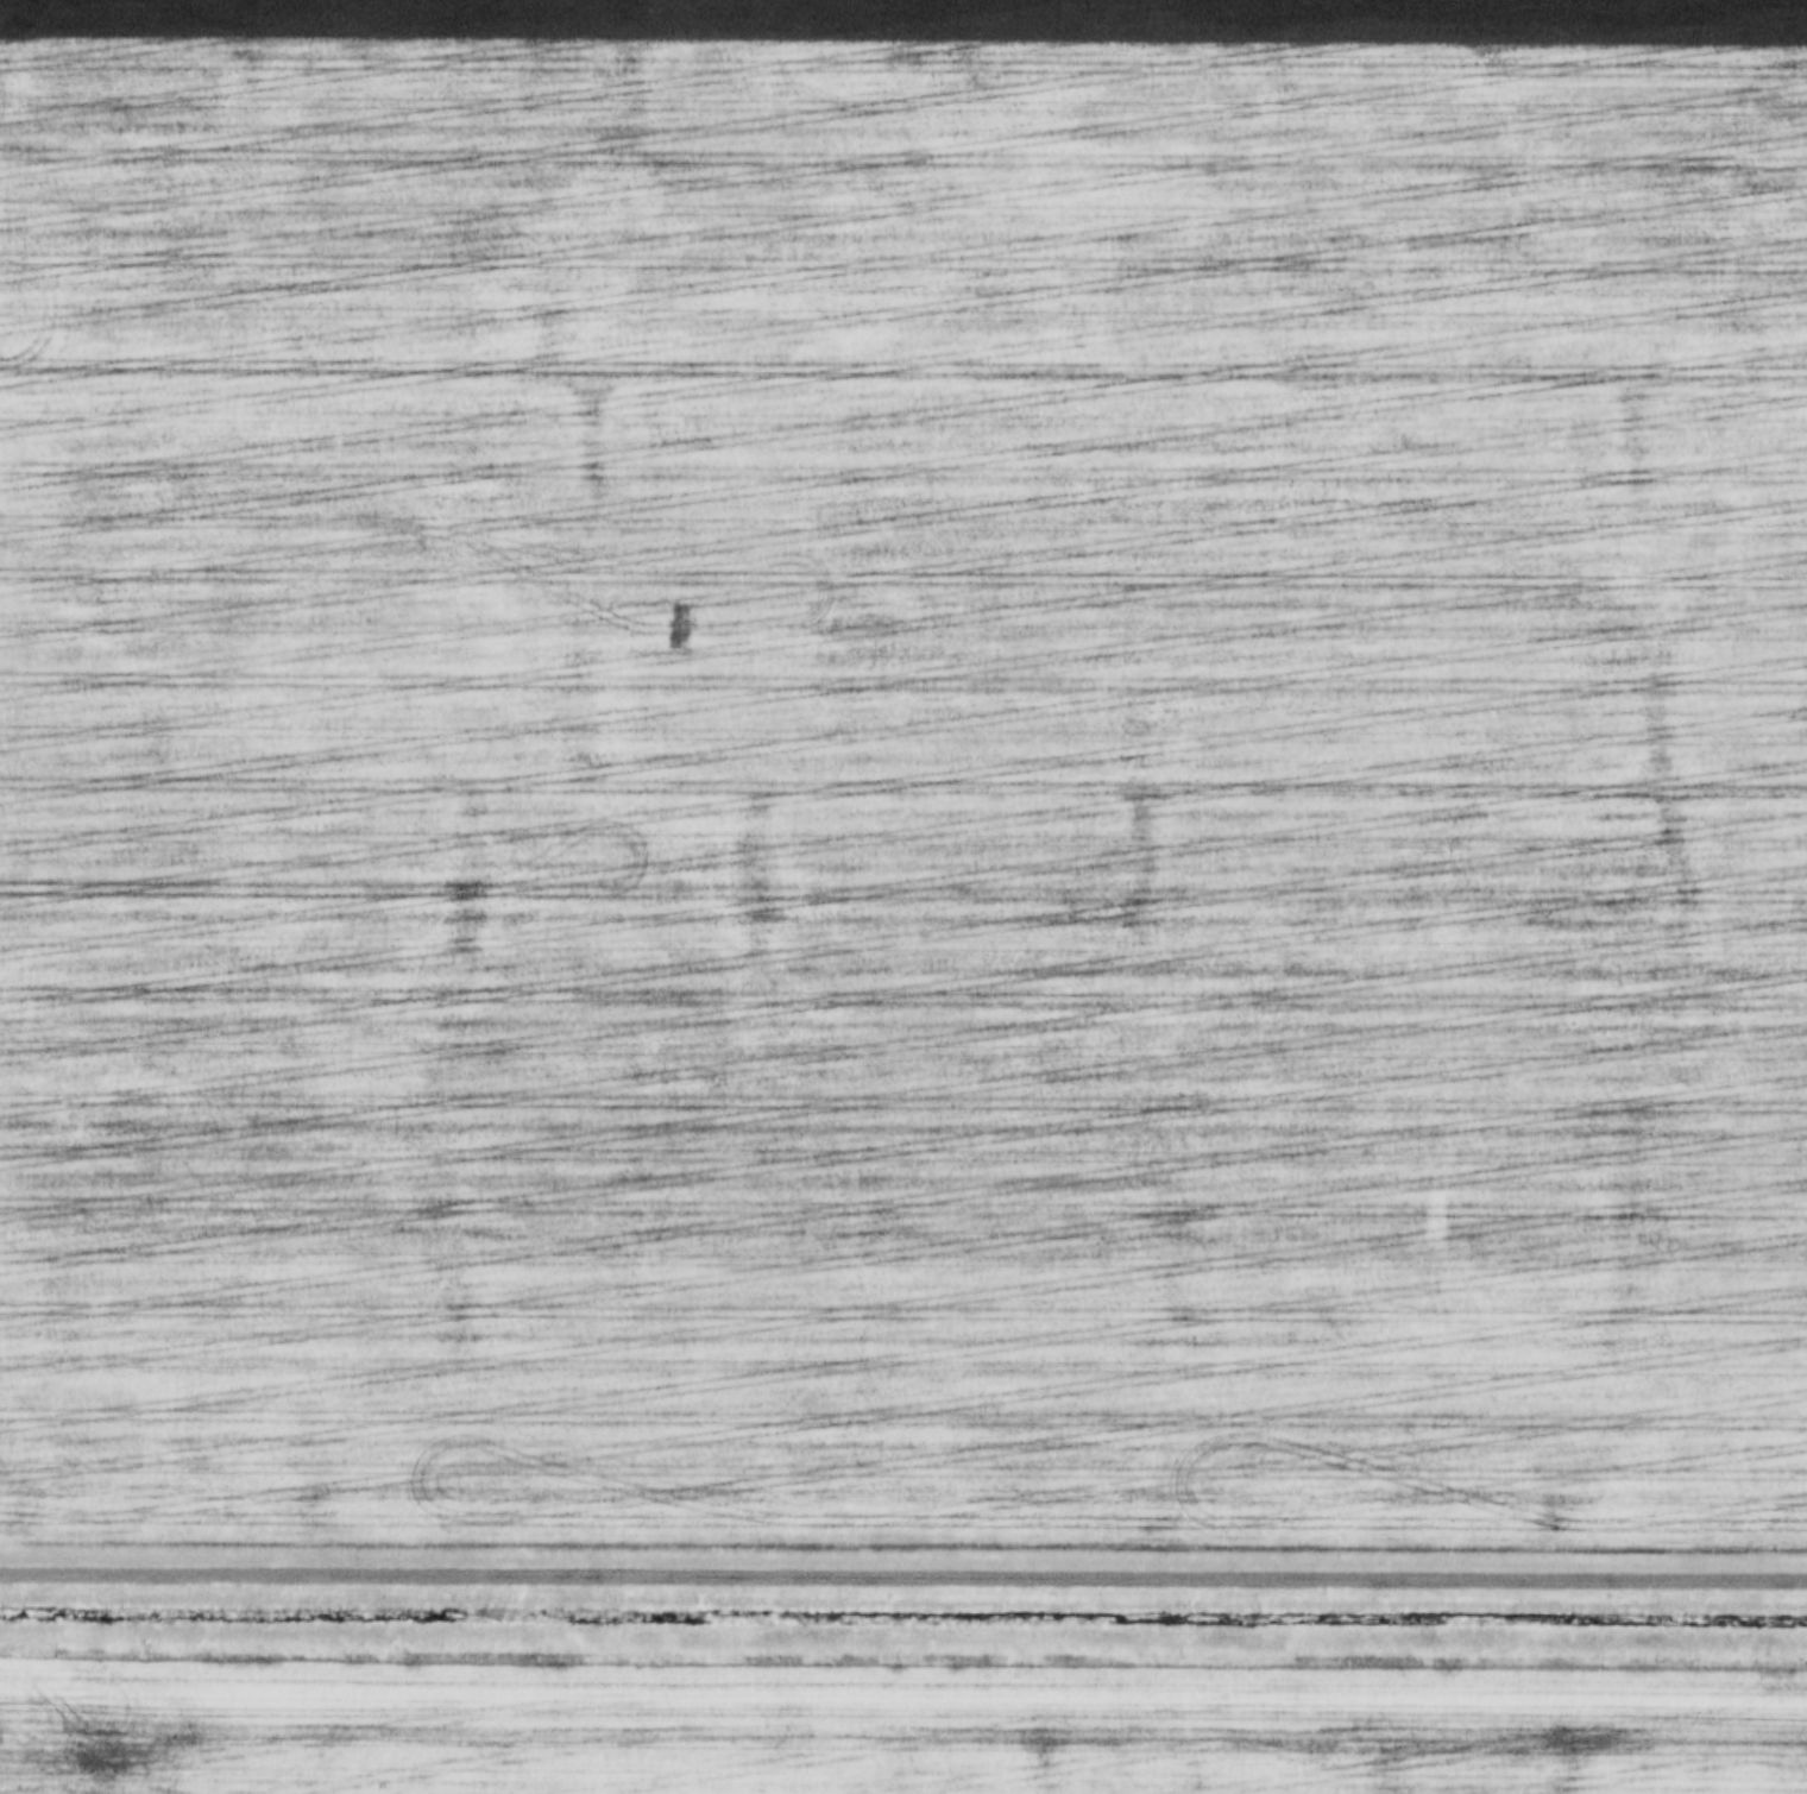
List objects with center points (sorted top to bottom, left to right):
crop: (903, 770)
road: (903, 1570)
crop: (895, 1726)

